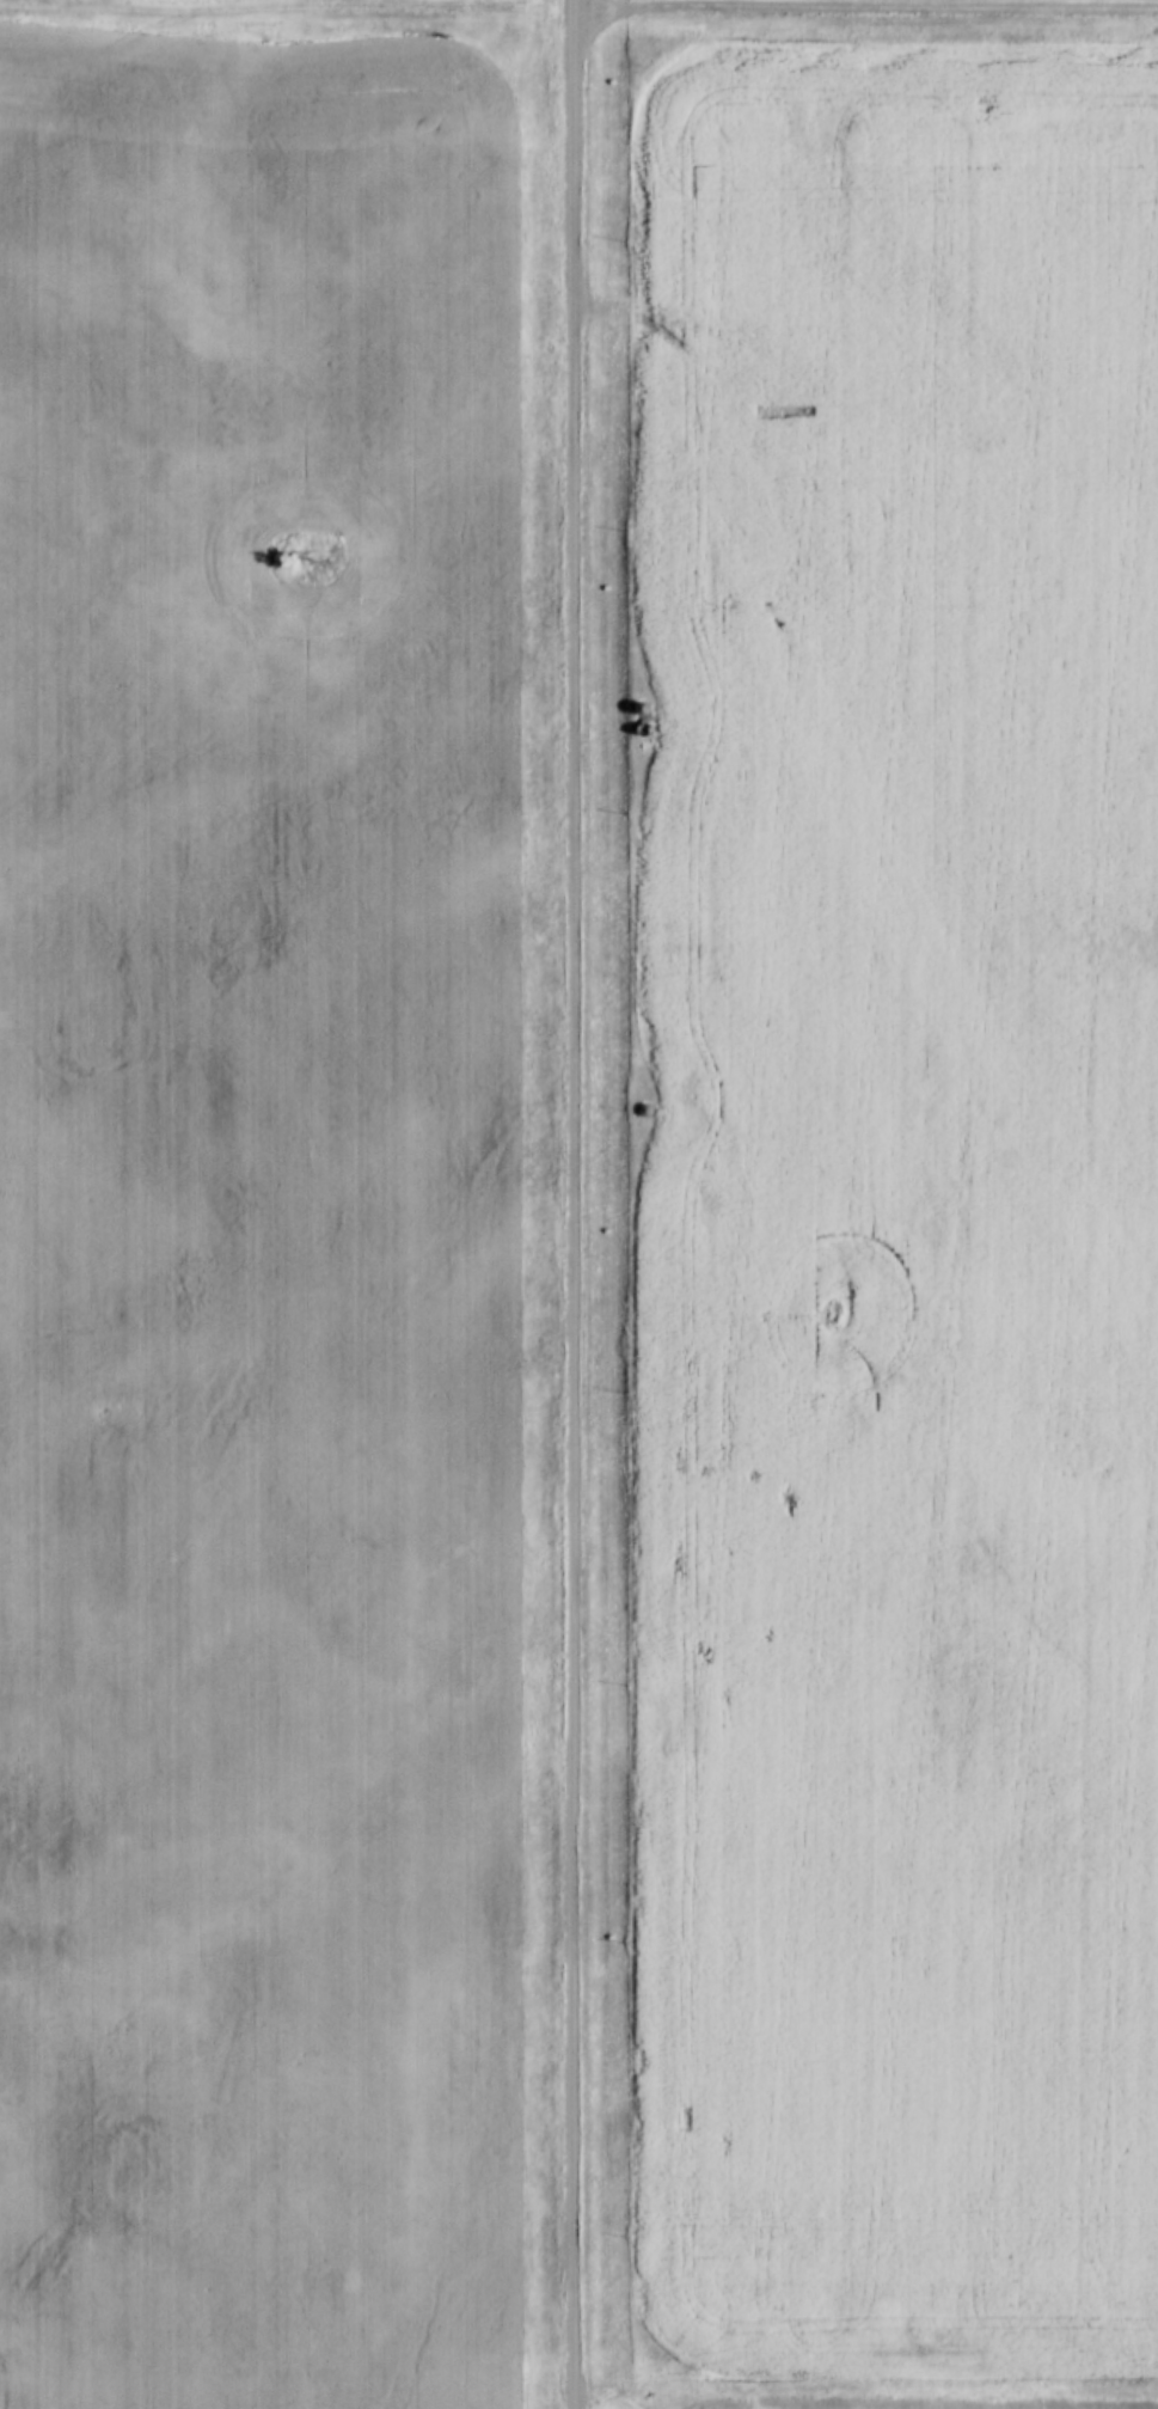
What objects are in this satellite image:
road: (626, 8)
road: (577, 1204)

